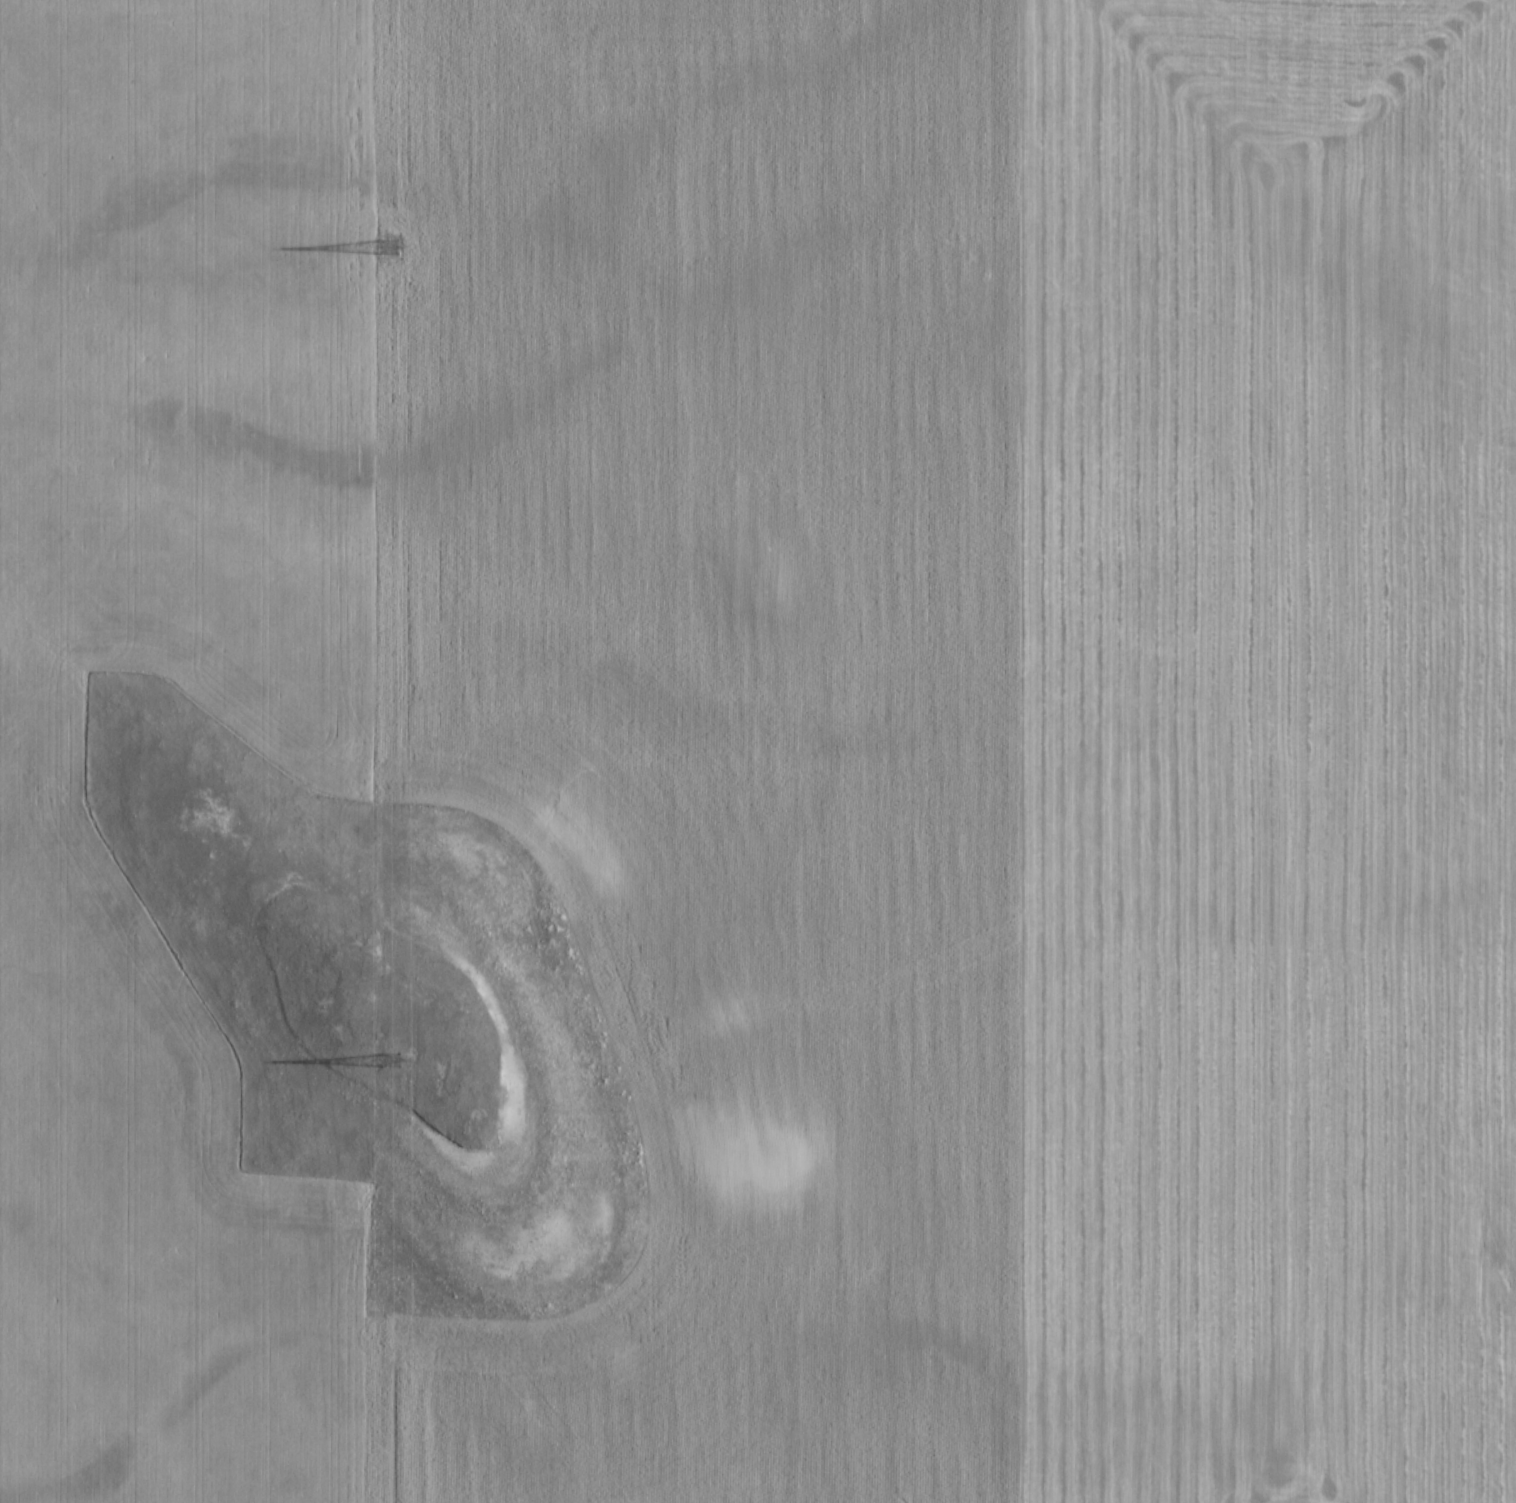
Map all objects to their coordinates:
power tower: (385, 243)
power tower: (391, 1061)

